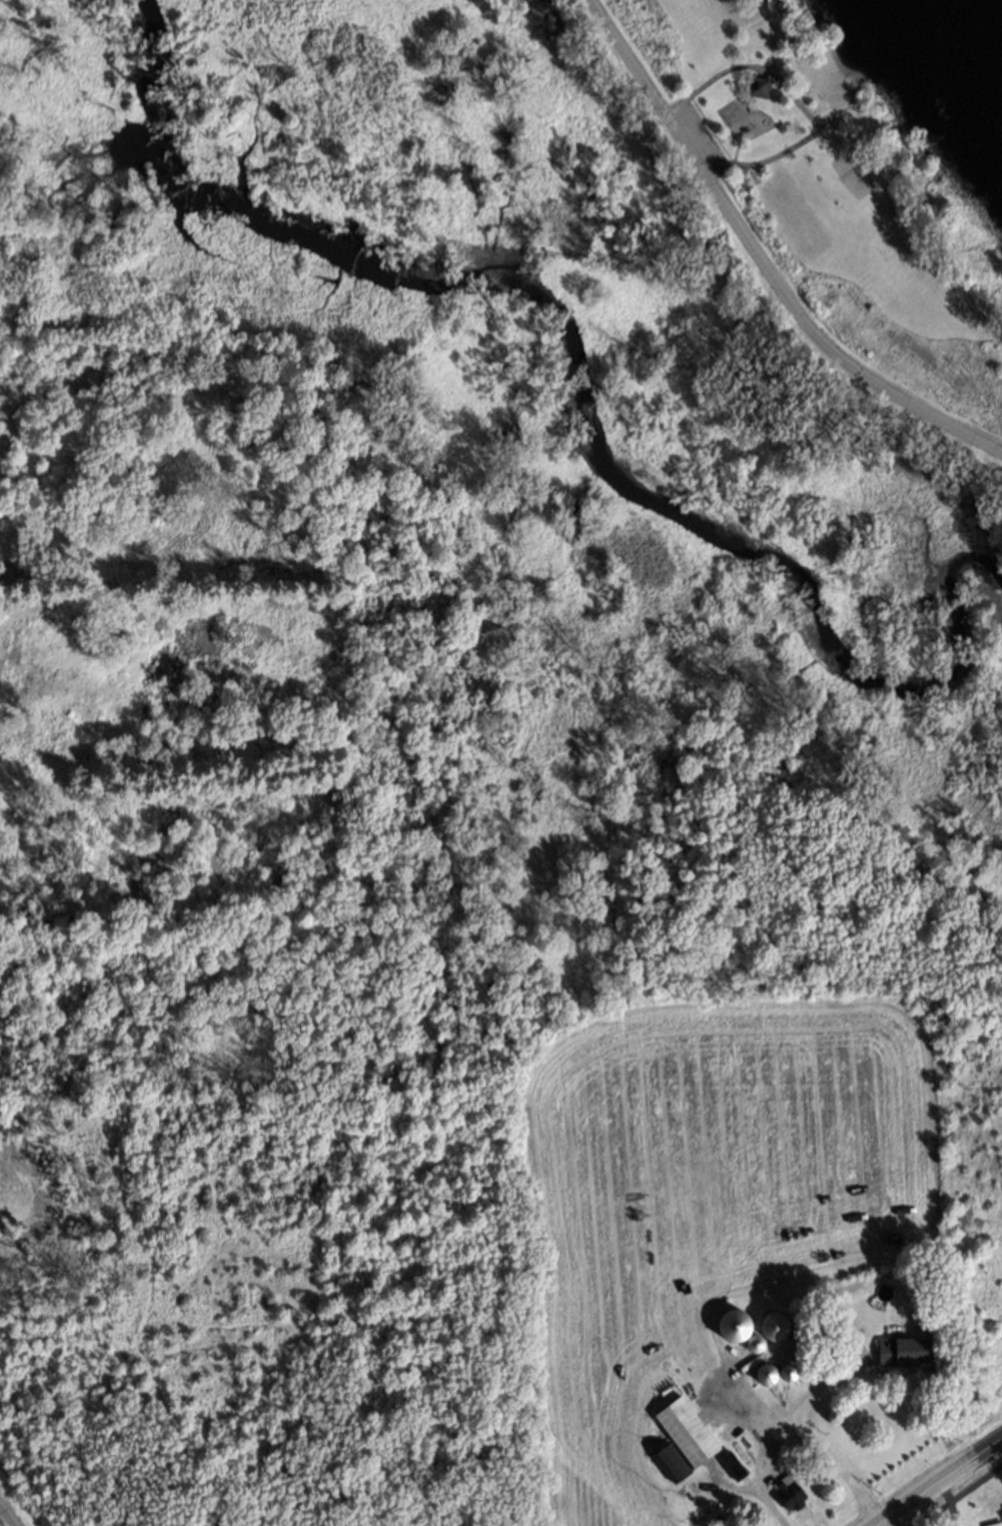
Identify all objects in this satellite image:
building: (754, 82)
building: (1, 162)
park: (836, 193)
road: (762, 261)
river: (578, 399)
crop: (684, 1200)
building: (734, 1323)
building: (775, 1324)
building: (803, 1336)
building: (754, 1343)
building: (903, 1348)
building: (789, 1370)
building: (766, 1373)
building: (686, 1426)
road: (820, 1430)
building: (673, 1458)
building: (732, 1461)
road: (768, 1461)
building: (791, 1486)
road: (943, 1486)
road: (9, 1514)
building: (992, 1523)

